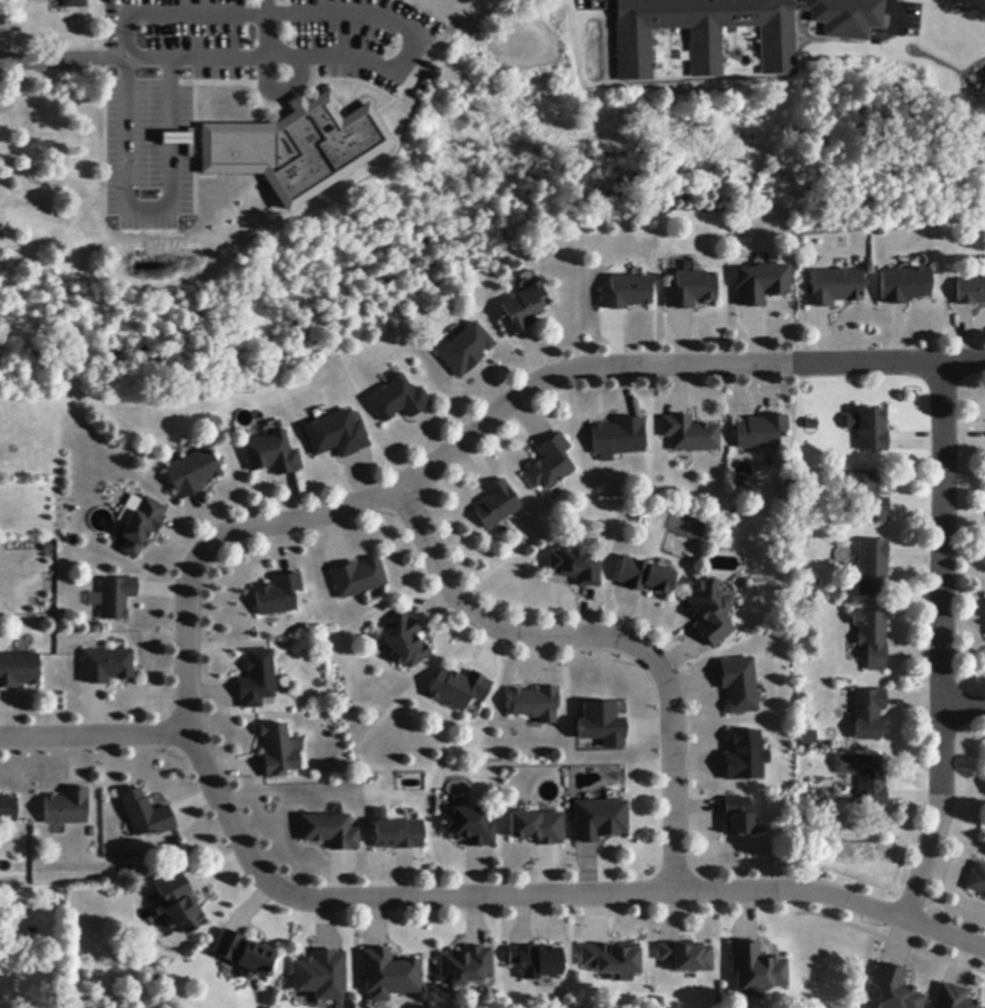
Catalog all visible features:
building: (33, 0)
building: (74, 4)
road: (214, 10)
building: (700, 33)
road: (85, 59)
road: (263, 69)
parking lot: (229, 77)
building: (321, 148)
park: (507, 220)
building: (762, 284)
building: (905, 285)
building: (835, 288)
building: (691, 291)
building: (627, 293)
building: (971, 293)
building: (523, 310)
building: (466, 350)
road: (963, 362)
building: (399, 400)
building: (812, 425)
building: (870, 429)
building: (762, 432)
road: (474, 433)
building: (691, 435)
building: (337, 436)
building: (619, 438)
building: (272, 455)
building: (551, 464)
building: (192, 473)
building: (868, 499)
building: (497, 505)
building: (141, 527)
building: (576, 567)
building: (873, 568)
building: (645, 577)
building: (359, 578)
building: (278, 596)
building: (115, 598)
building: (710, 611)
road: (610, 638)
building: (873, 638)
building: (405, 641)
road: (944, 644)
building: (106, 666)
building: (18, 671)
building: (258, 680)
building: (739, 685)
building: (460, 690)
building: (536, 705)
road: (965, 708)
building: (869, 714)
building: (600, 723)
road: (95, 733)
building: (809, 738)
building: (278, 752)
building: (744, 756)
building: (867, 777)
building: (67, 808)
building: (8, 809)
building: (146, 815)
building: (738, 817)
building: (598, 820)
building: (469, 827)
building: (537, 828)
building: (329, 832)
building: (396, 833)
building: (977, 880)
road: (543, 898)
building: (178, 905)
building: (30, 933)
building: (243, 955)
building: (684, 957)
building: (612, 961)
building: (535, 962)
building: (465, 966)
building: (756, 968)
building: (321, 976)
building: (388, 976)
building: (892, 989)
building: (951, 998)

